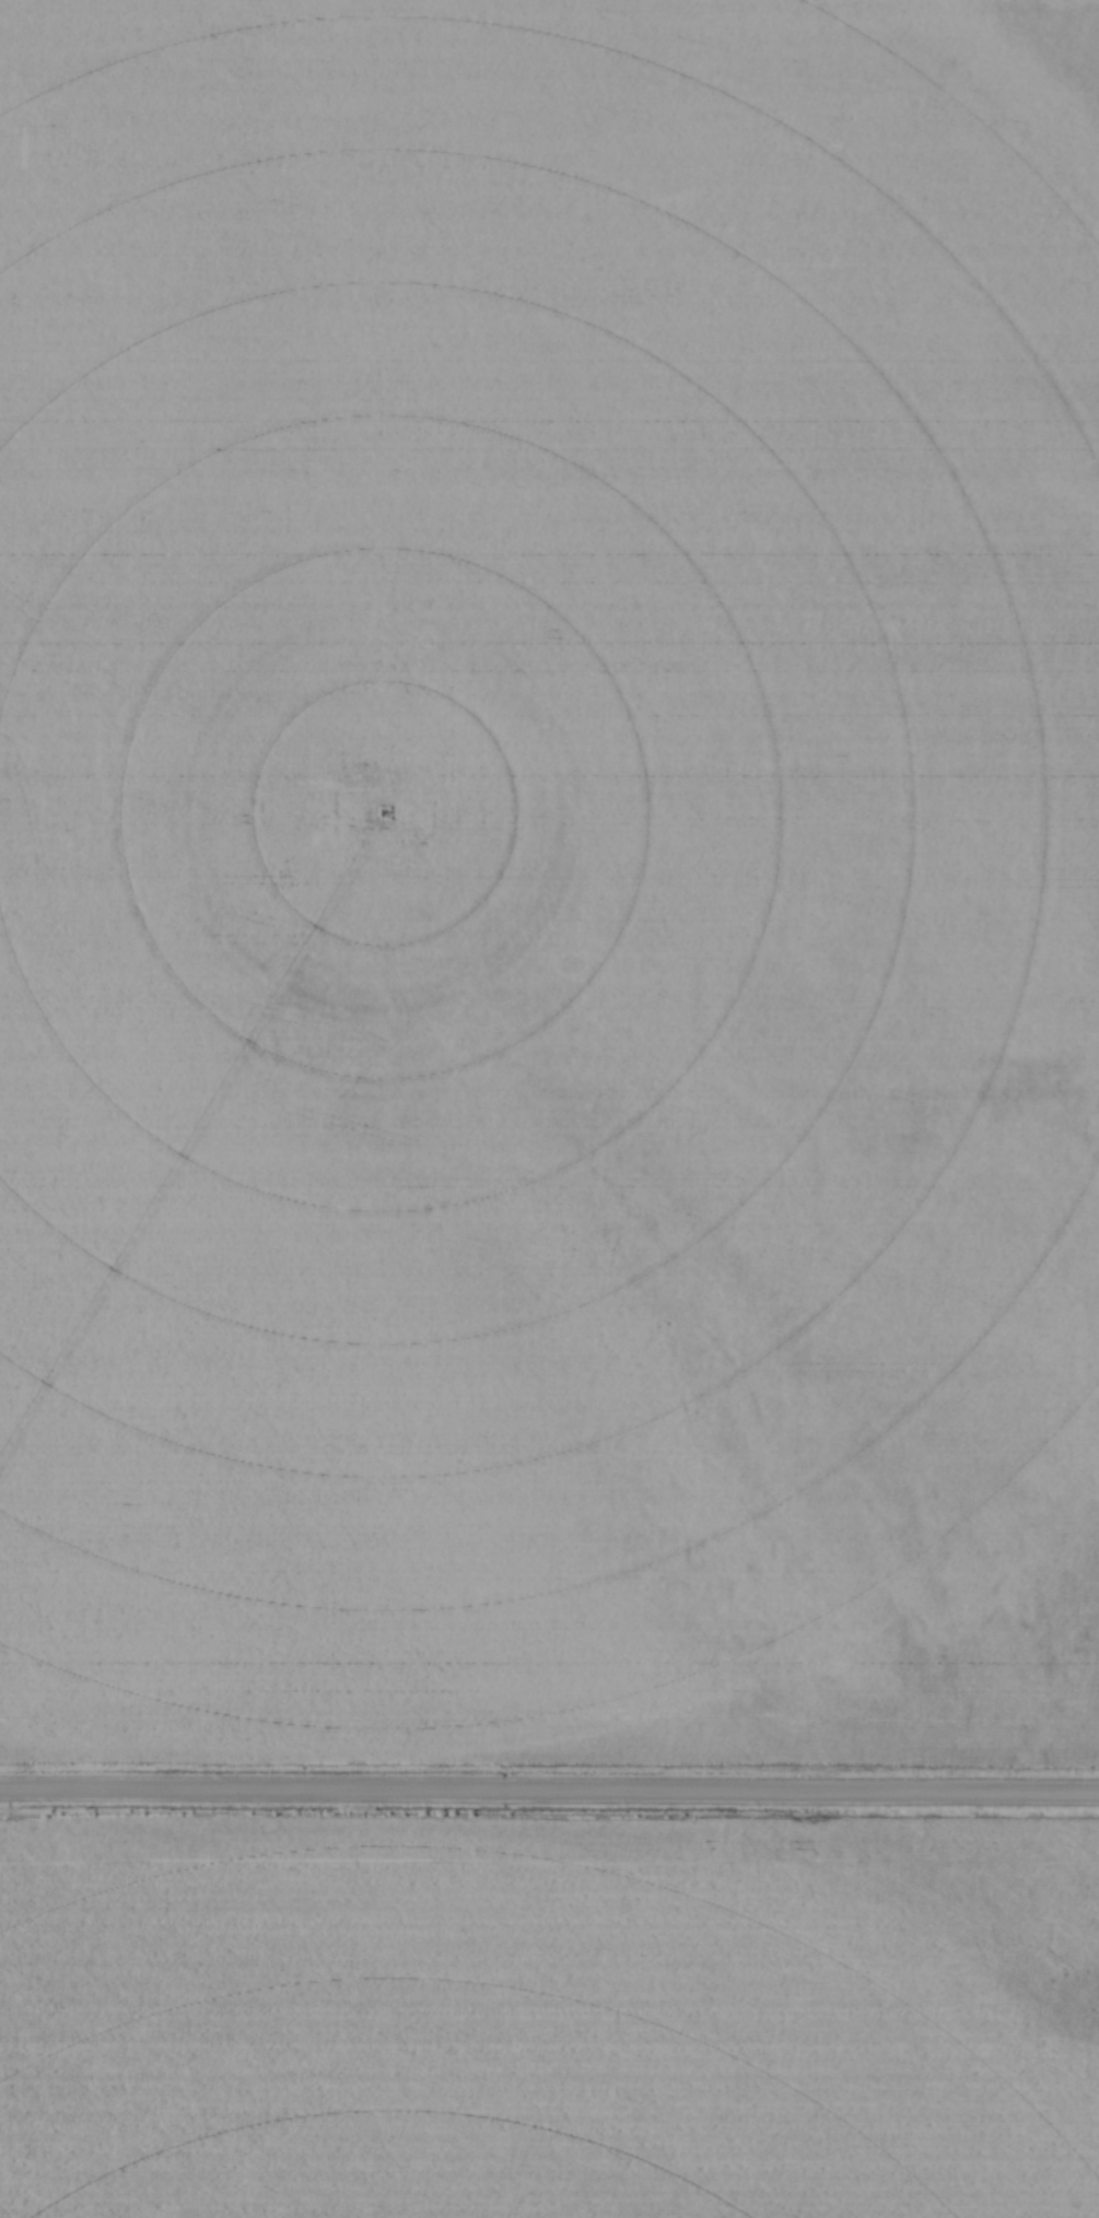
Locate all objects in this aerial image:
crop: (549, 882)
road: (549, 1788)
crop: (548, 2016)

